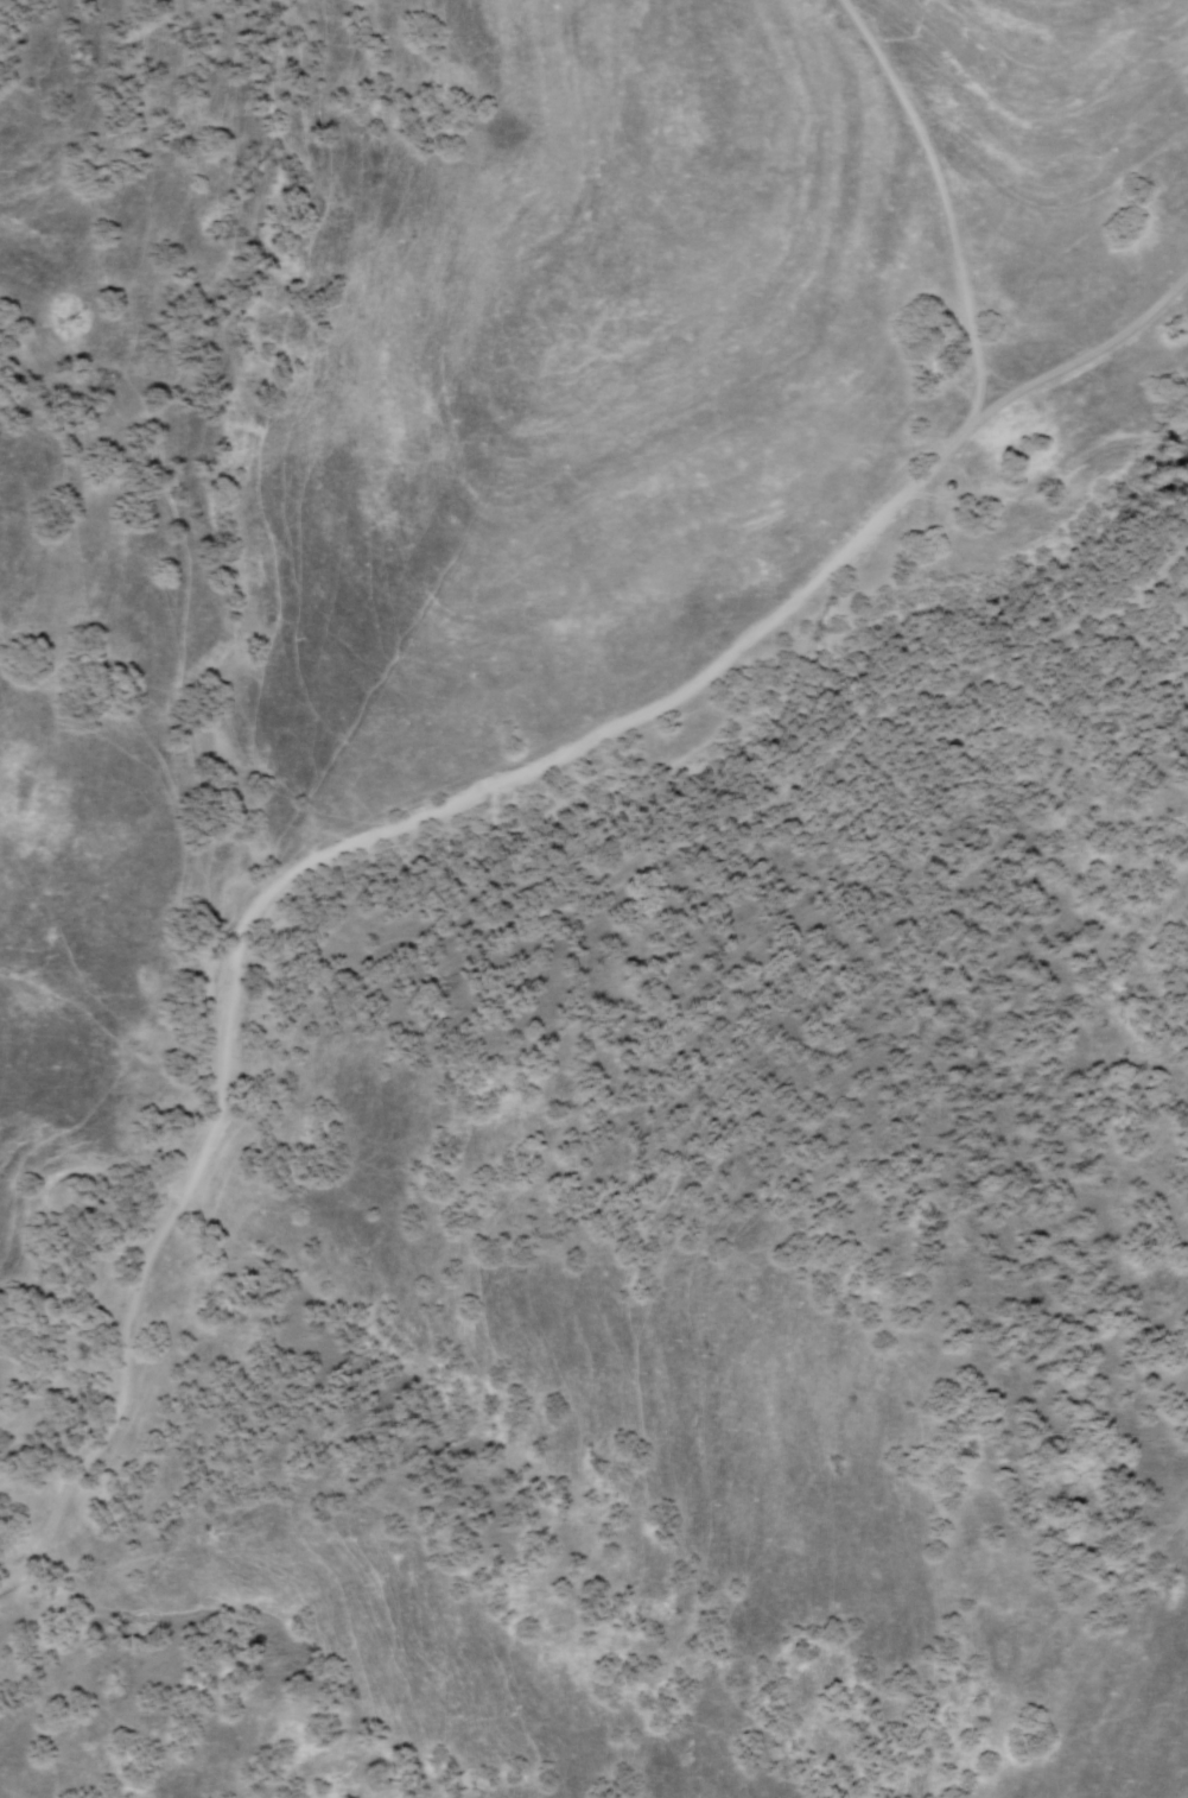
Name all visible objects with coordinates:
road: (938, 192)
road: (433, 812)

